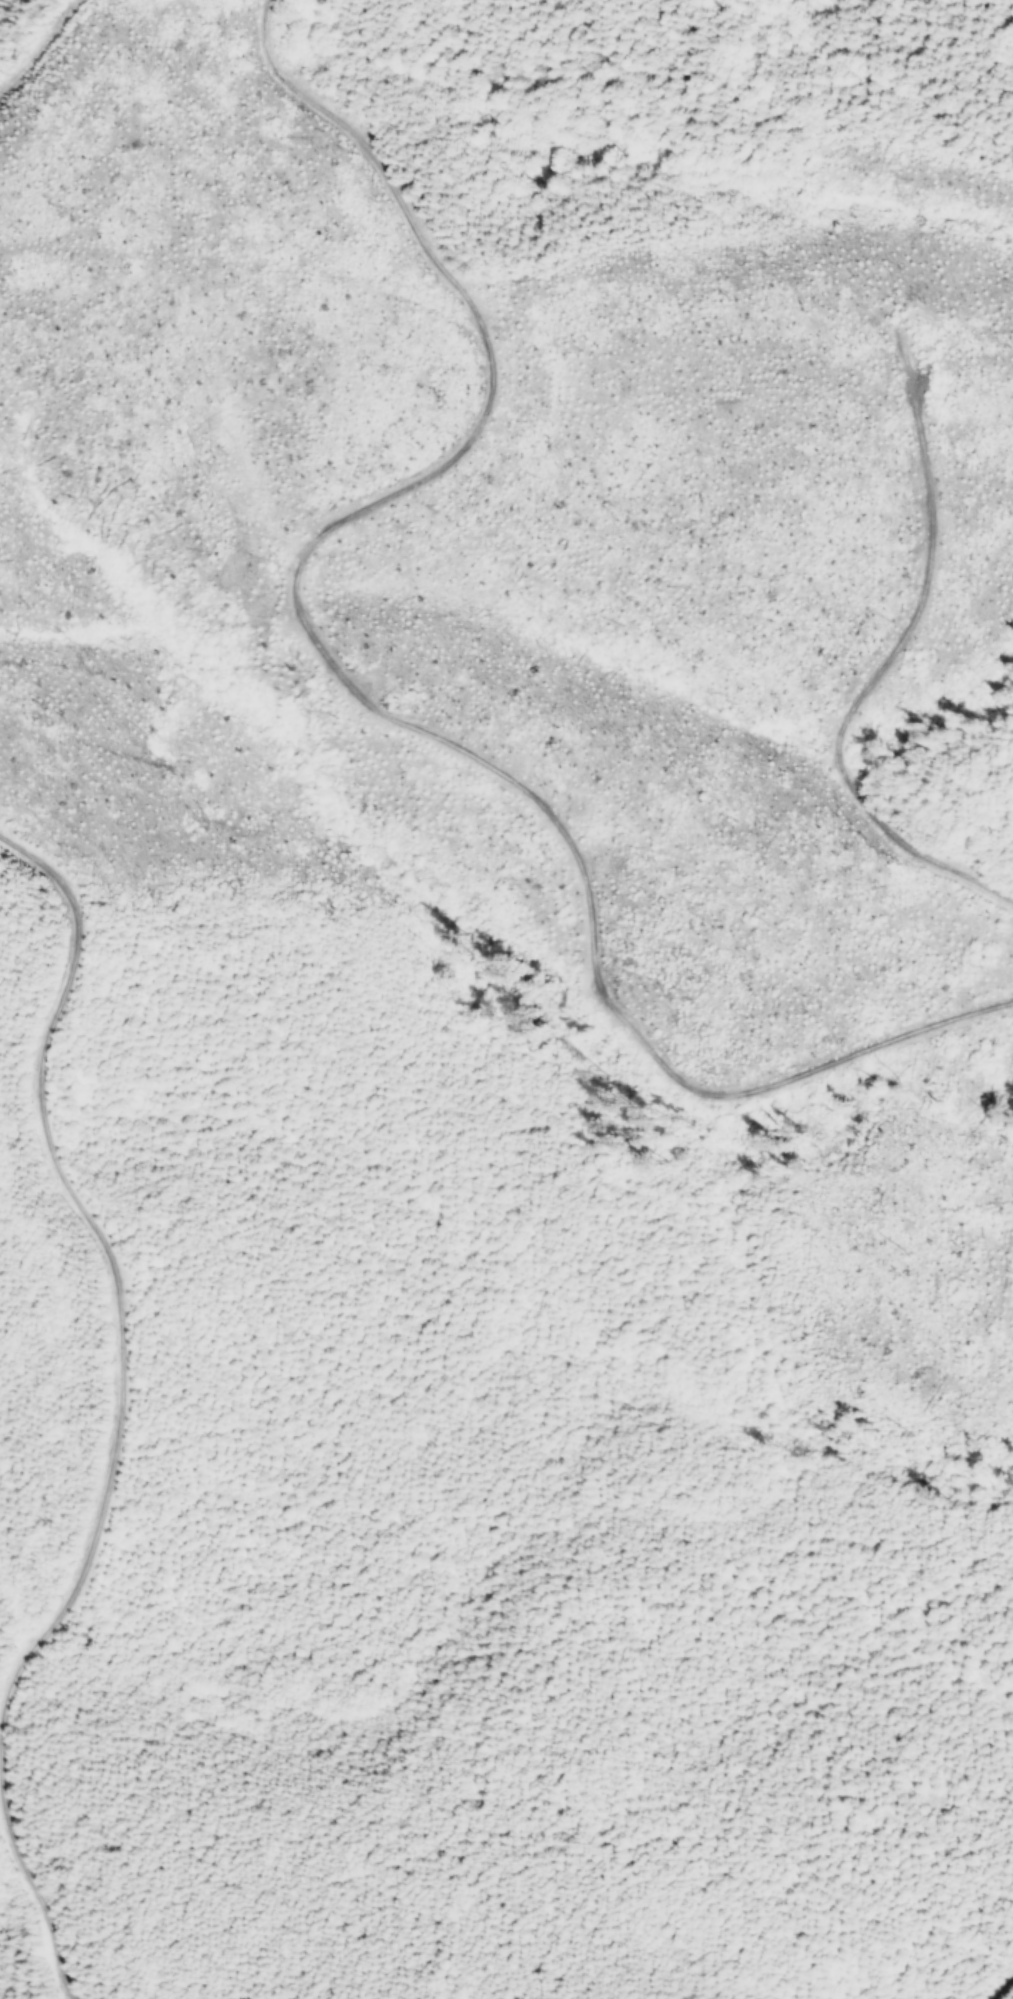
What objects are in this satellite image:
road: (58, 48)
road: (921, 633)
road: (376, 678)

